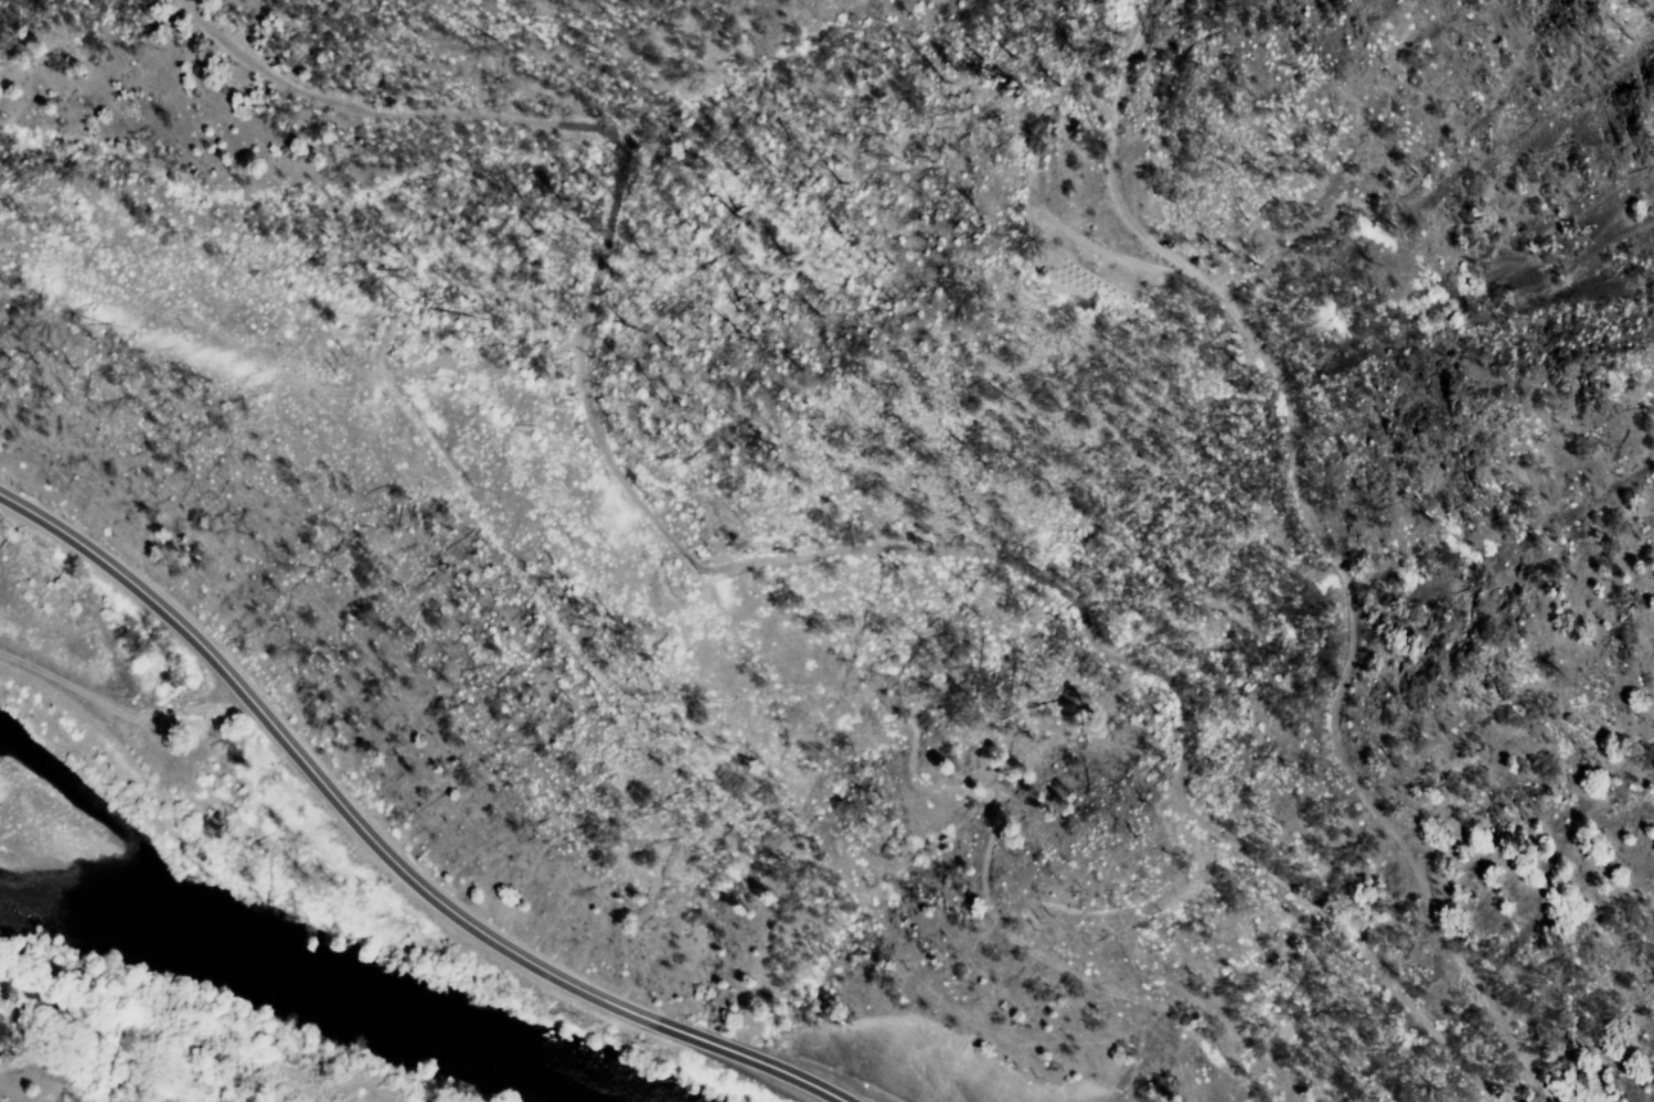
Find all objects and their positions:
road: (925, 277)
power tower: (337, 364)
road: (801, 536)
power tower: (705, 552)
road: (375, 845)
power tower: (1029, 922)
river: (318, 993)

